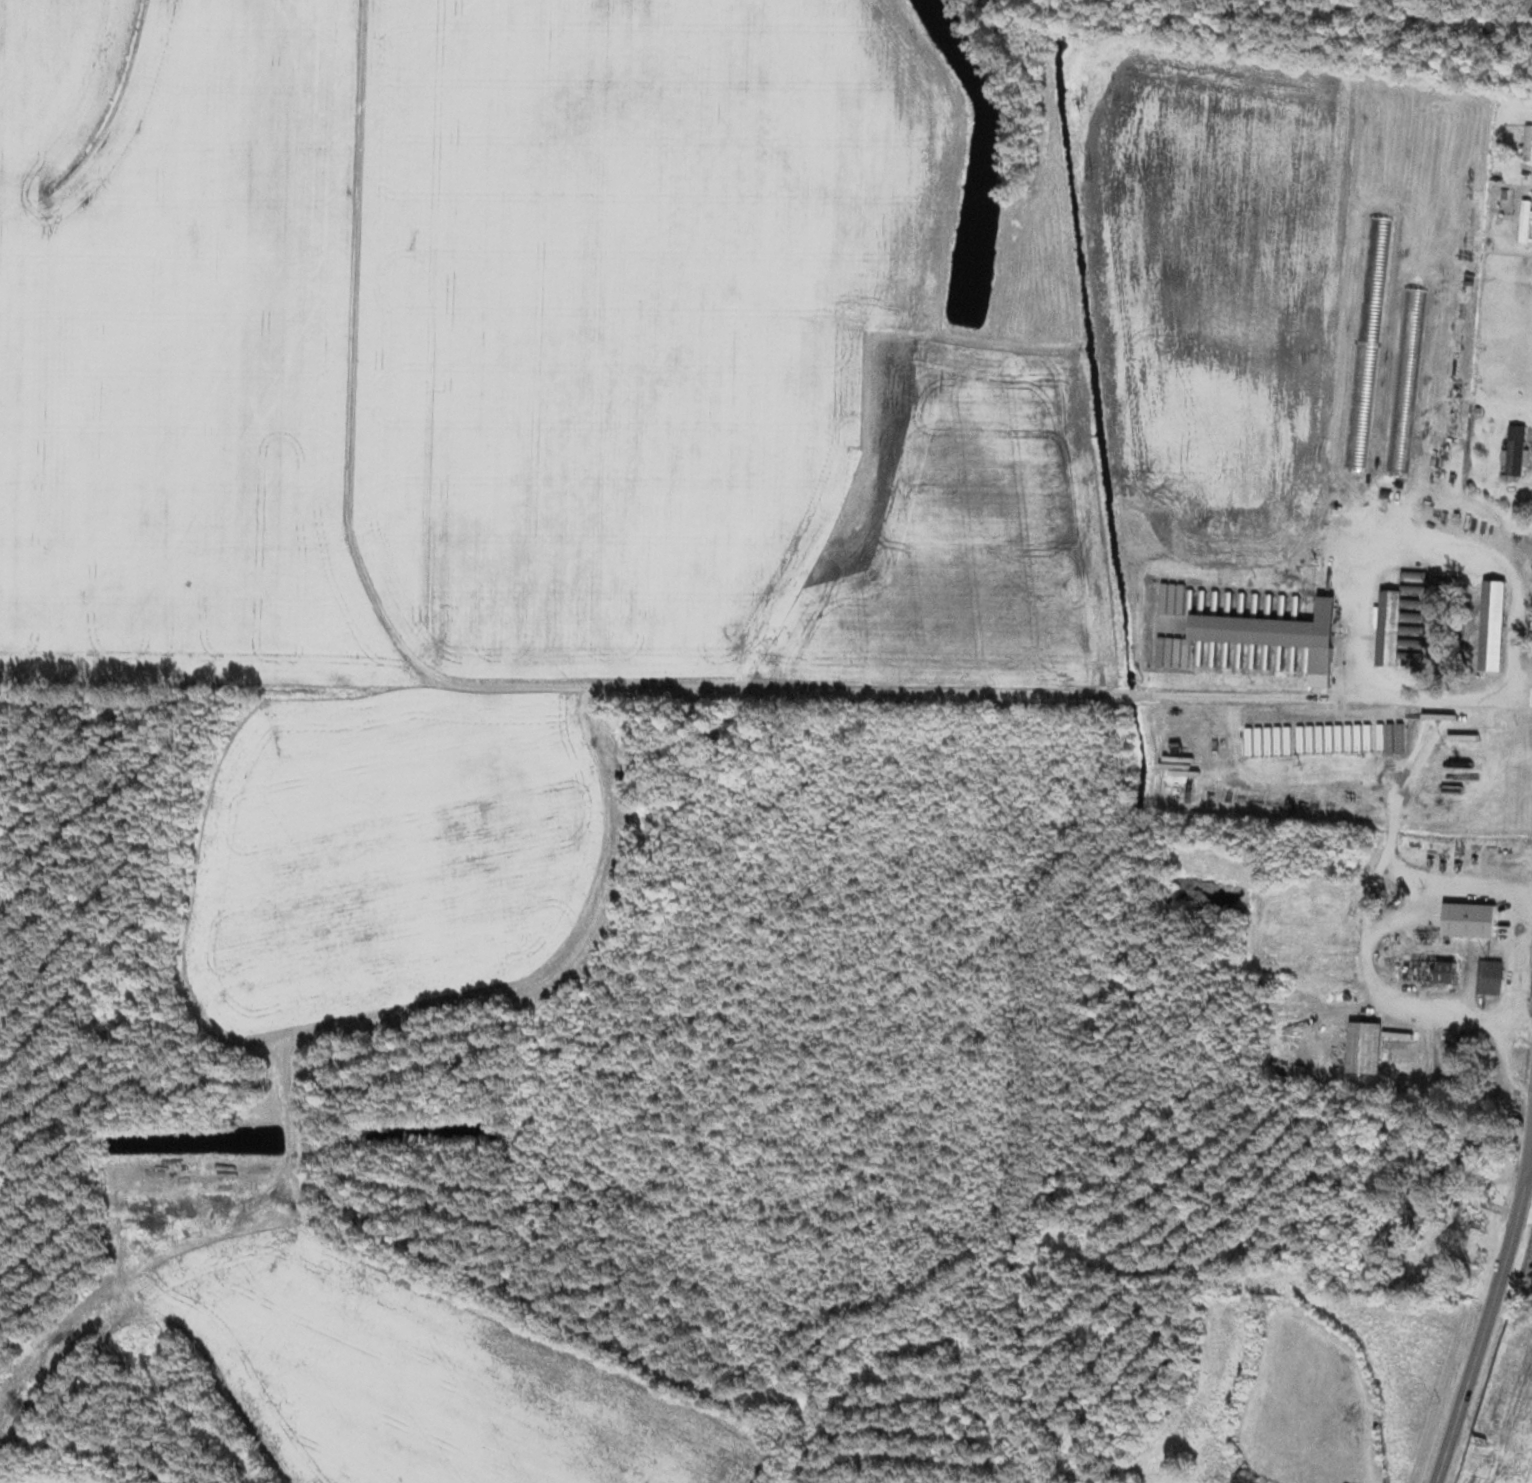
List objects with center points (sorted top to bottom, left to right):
building: (1527, 143)
building: (1525, 223)
building: (1406, 381)
building: (1515, 450)
building: (1492, 626)
building: (1388, 628)
building: (1268, 629)
building: (1468, 921)
building: (1427, 972)
building: (1491, 978)
building: (1364, 1049)
building: (1469, 1151)
road: (1530, 1169)
building: (1415, 1213)
building: (1474, 1221)
power tower: (1482, 1263)
road: (1490, 1315)
power tower: (1438, 1403)

